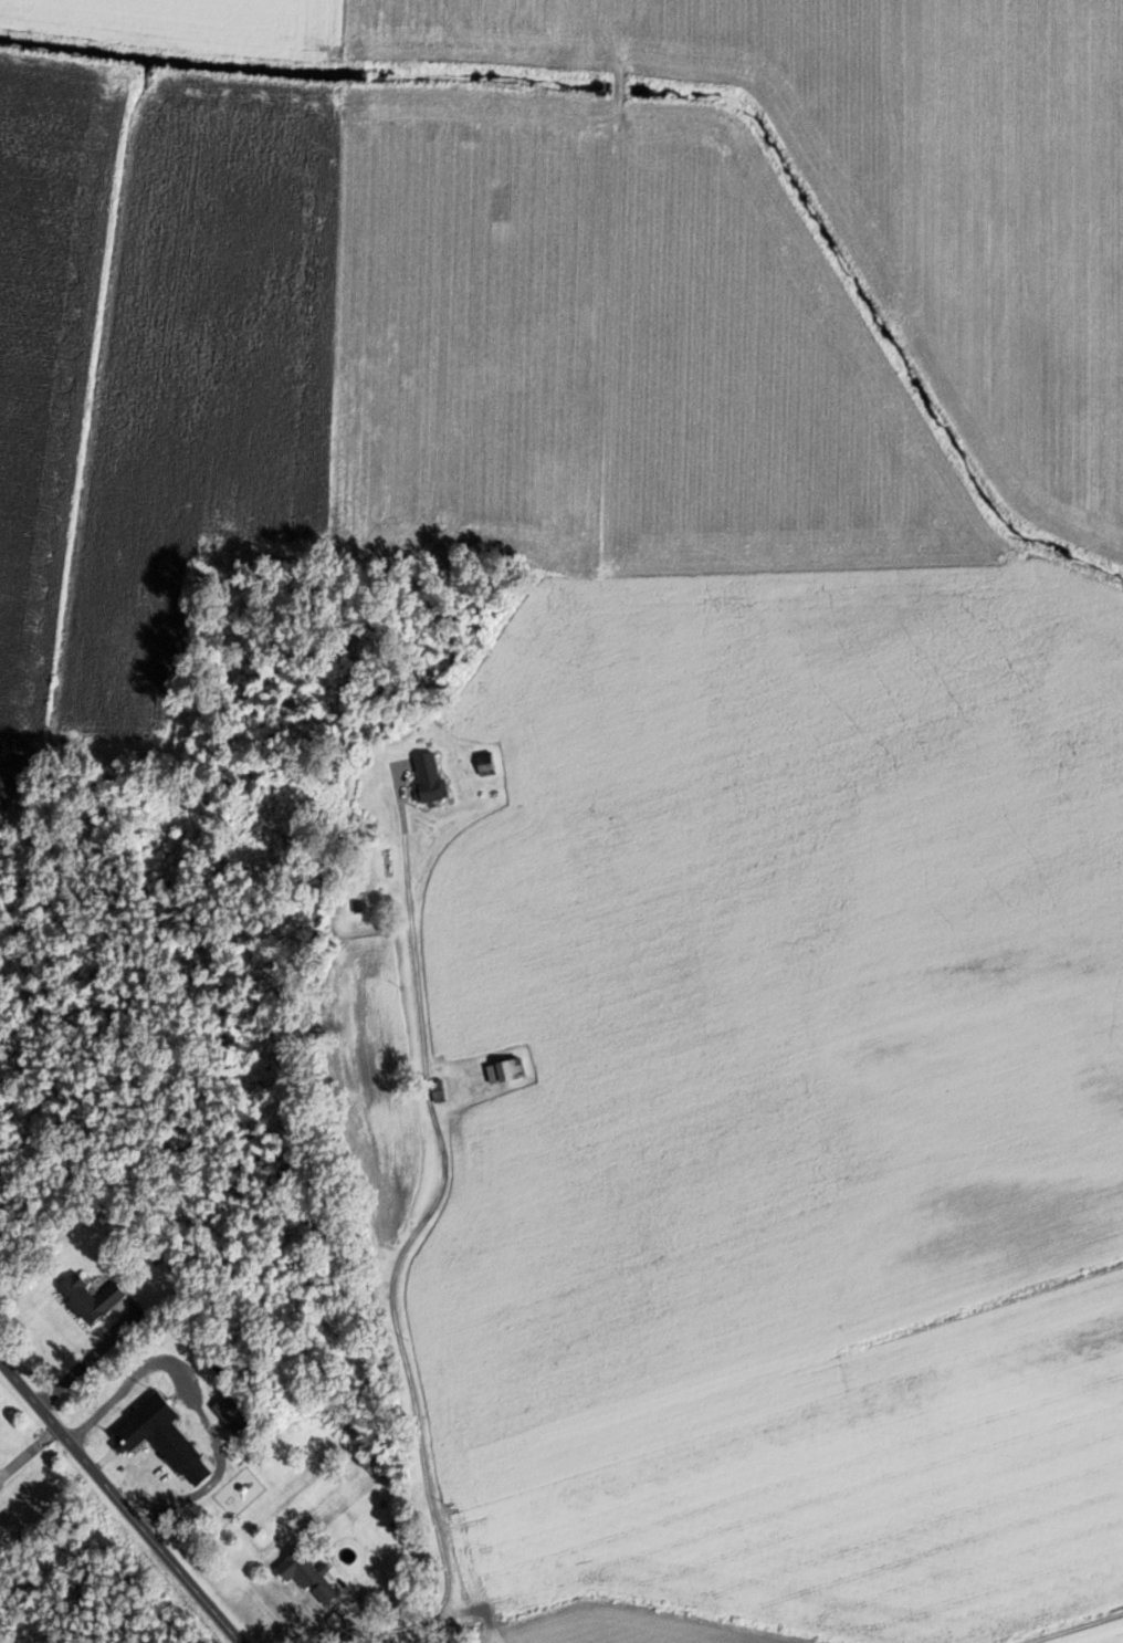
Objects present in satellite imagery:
building: (486, 763)
building: (427, 776)
building: (504, 1071)
road: (438, 1259)
building: (88, 1298)
building: (155, 1438)
building: (364, 1463)
road: (124, 1499)
building: (306, 1577)

